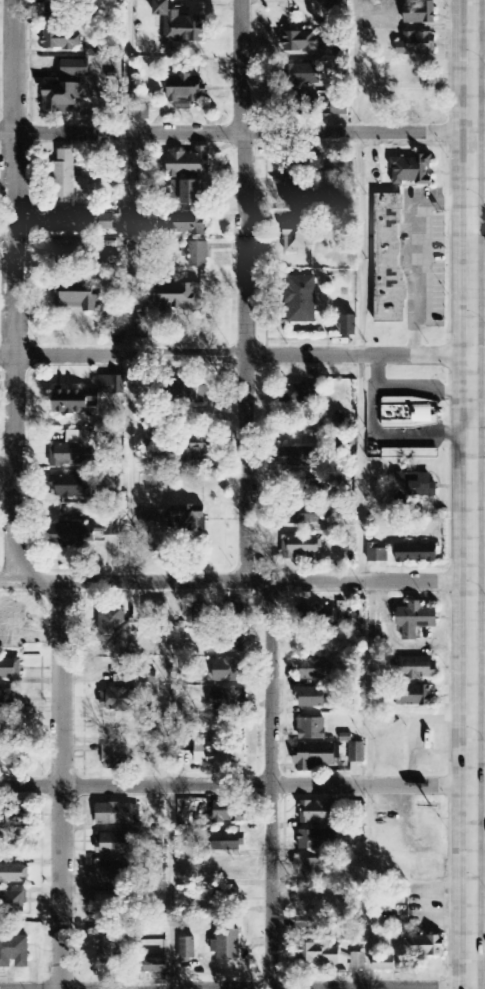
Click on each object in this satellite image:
building: (338, 4)
building: (61, 12)
building: (420, 13)
building: (181, 24)
building: (62, 40)
building: (303, 42)
building: (417, 44)
building: (93, 50)
road: (479, 65)
building: (75, 68)
building: (304, 75)
building: (186, 91)
building: (62, 97)
building: (340, 110)
road: (236, 133)
building: (190, 163)
building: (303, 163)
building: (413, 170)
building: (65, 175)
building: (188, 191)
building: (301, 195)
building: (73, 221)
building: (106, 223)
building: (190, 224)
building: (296, 238)
road: (416, 251)
building: (199, 254)
building: (64, 256)
building: (390, 262)
road: (479, 270)
road: (126, 290)
road: (244, 290)
building: (76, 296)
building: (177, 297)
building: (301, 300)
building: (349, 325)
building: (142, 328)
building: (119, 333)
road: (236, 354)
road: (479, 355)
road: (376, 370)
road: (422, 386)
road: (479, 390)
building: (298, 396)
building: (88, 397)
building: (192, 398)
road: (370, 409)
building: (411, 414)
road: (422, 431)
building: (75, 451)
building: (411, 454)
building: (199, 455)
building: (297, 457)
road: (360, 468)
road: (479, 474)
building: (308, 487)
building: (414, 488)
road: (473, 494)
road: (11, 502)
building: (303, 515)
building: (187, 518)
building: (79, 533)
building: (351, 543)
building: (301, 548)
building: (377, 554)
building: (416, 554)
road: (236, 581)
building: (154, 611)
building: (202, 613)
building: (416, 620)
building: (11, 625)
building: (117, 629)
building: (224, 646)
building: (416, 668)
building: (10, 669)
building: (315, 670)
building: (228, 671)
road: (479, 678)
building: (416, 697)
building: (312, 698)
building: (7, 700)
building: (116, 700)
building: (227, 700)
building: (312, 729)
building: (212, 753)
building: (357, 753)
building: (315, 755)
building: (116, 758)
building: (8, 759)
road: (271, 784)
road: (367, 784)
road: (168, 785)
road: (236, 785)
building: (316, 813)
building: (115, 815)
building: (13, 824)
building: (317, 841)
building: (229, 842)
building: (113, 844)
building: (310, 870)
building: (14, 874)
building: (110, 874)
road: (478, 886)
building: (228, 893)
building: (13, 901)
building: (109, 903)
building: (308, 923)
building: (112, 942)
building: (227, 945)
building: (425, 947)
building: (187, 949)
building: (14, 952)
building: (319, 955)
building: (358, 962)
building: (155, 965)
building: (385, 965)
road: (320, 988)
road: (374, 988)

